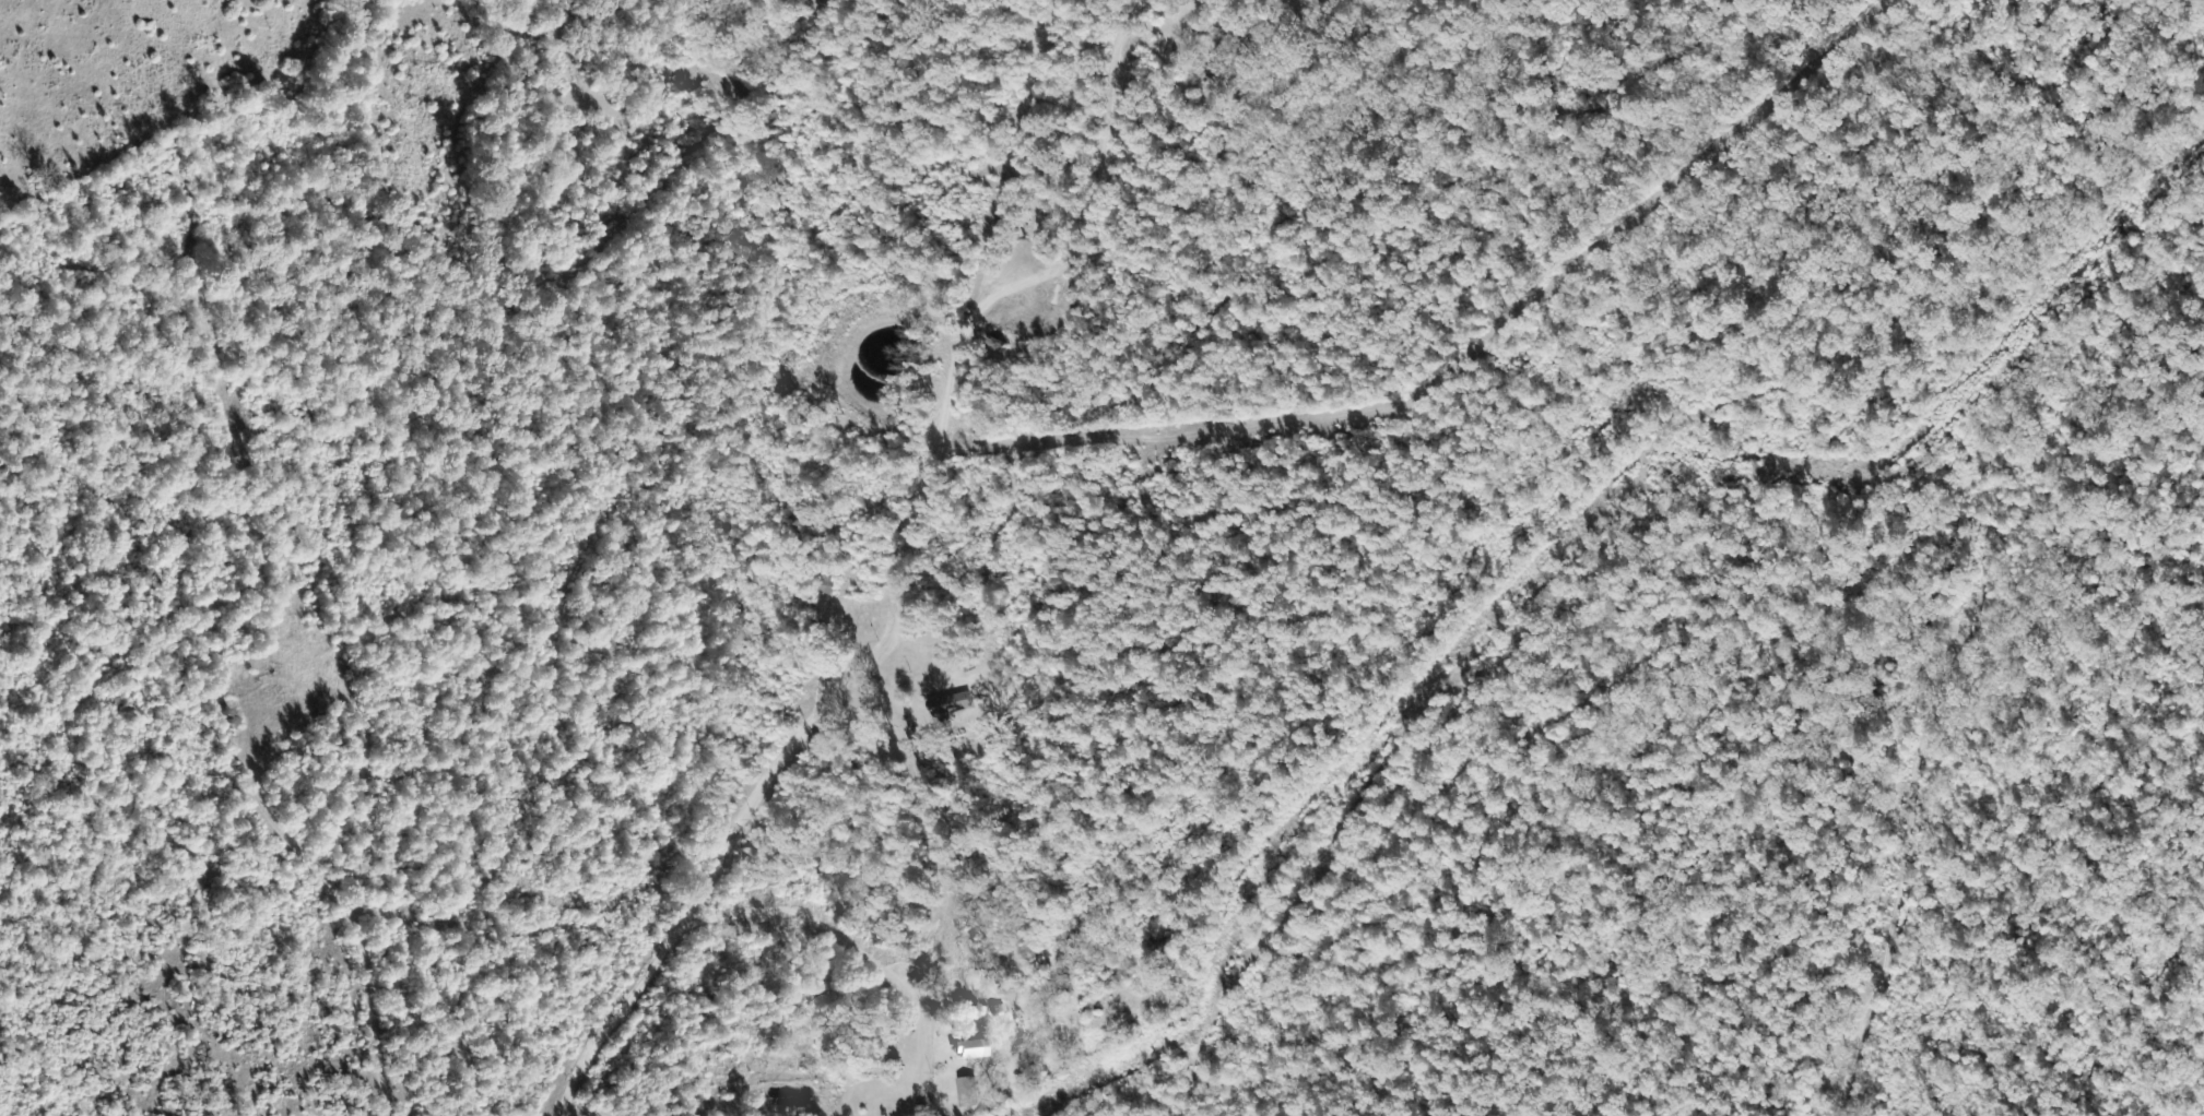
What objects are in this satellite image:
petroleum well: (1056, 289)
road: (908, 571)
building: (953, 708)
building: (974, 1049)
building: (969, 1092)

